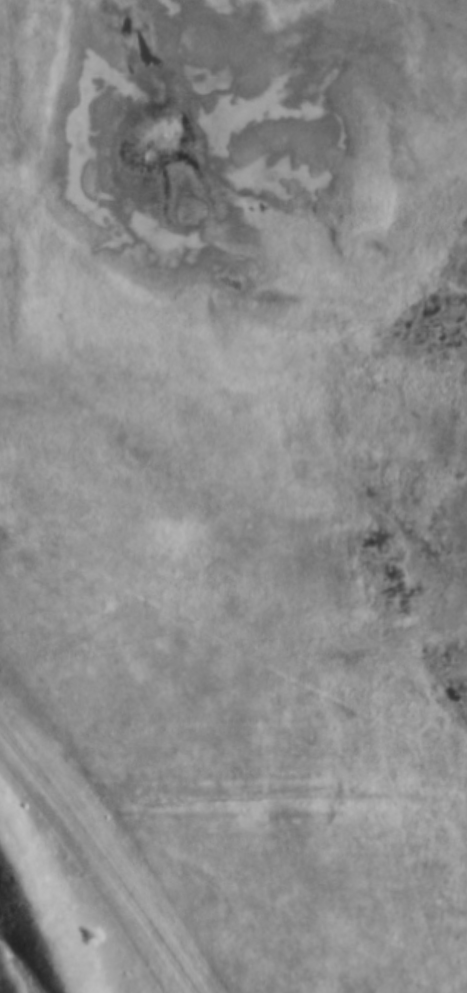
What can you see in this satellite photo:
road: (100, 855)
quarry: (79, 878)

